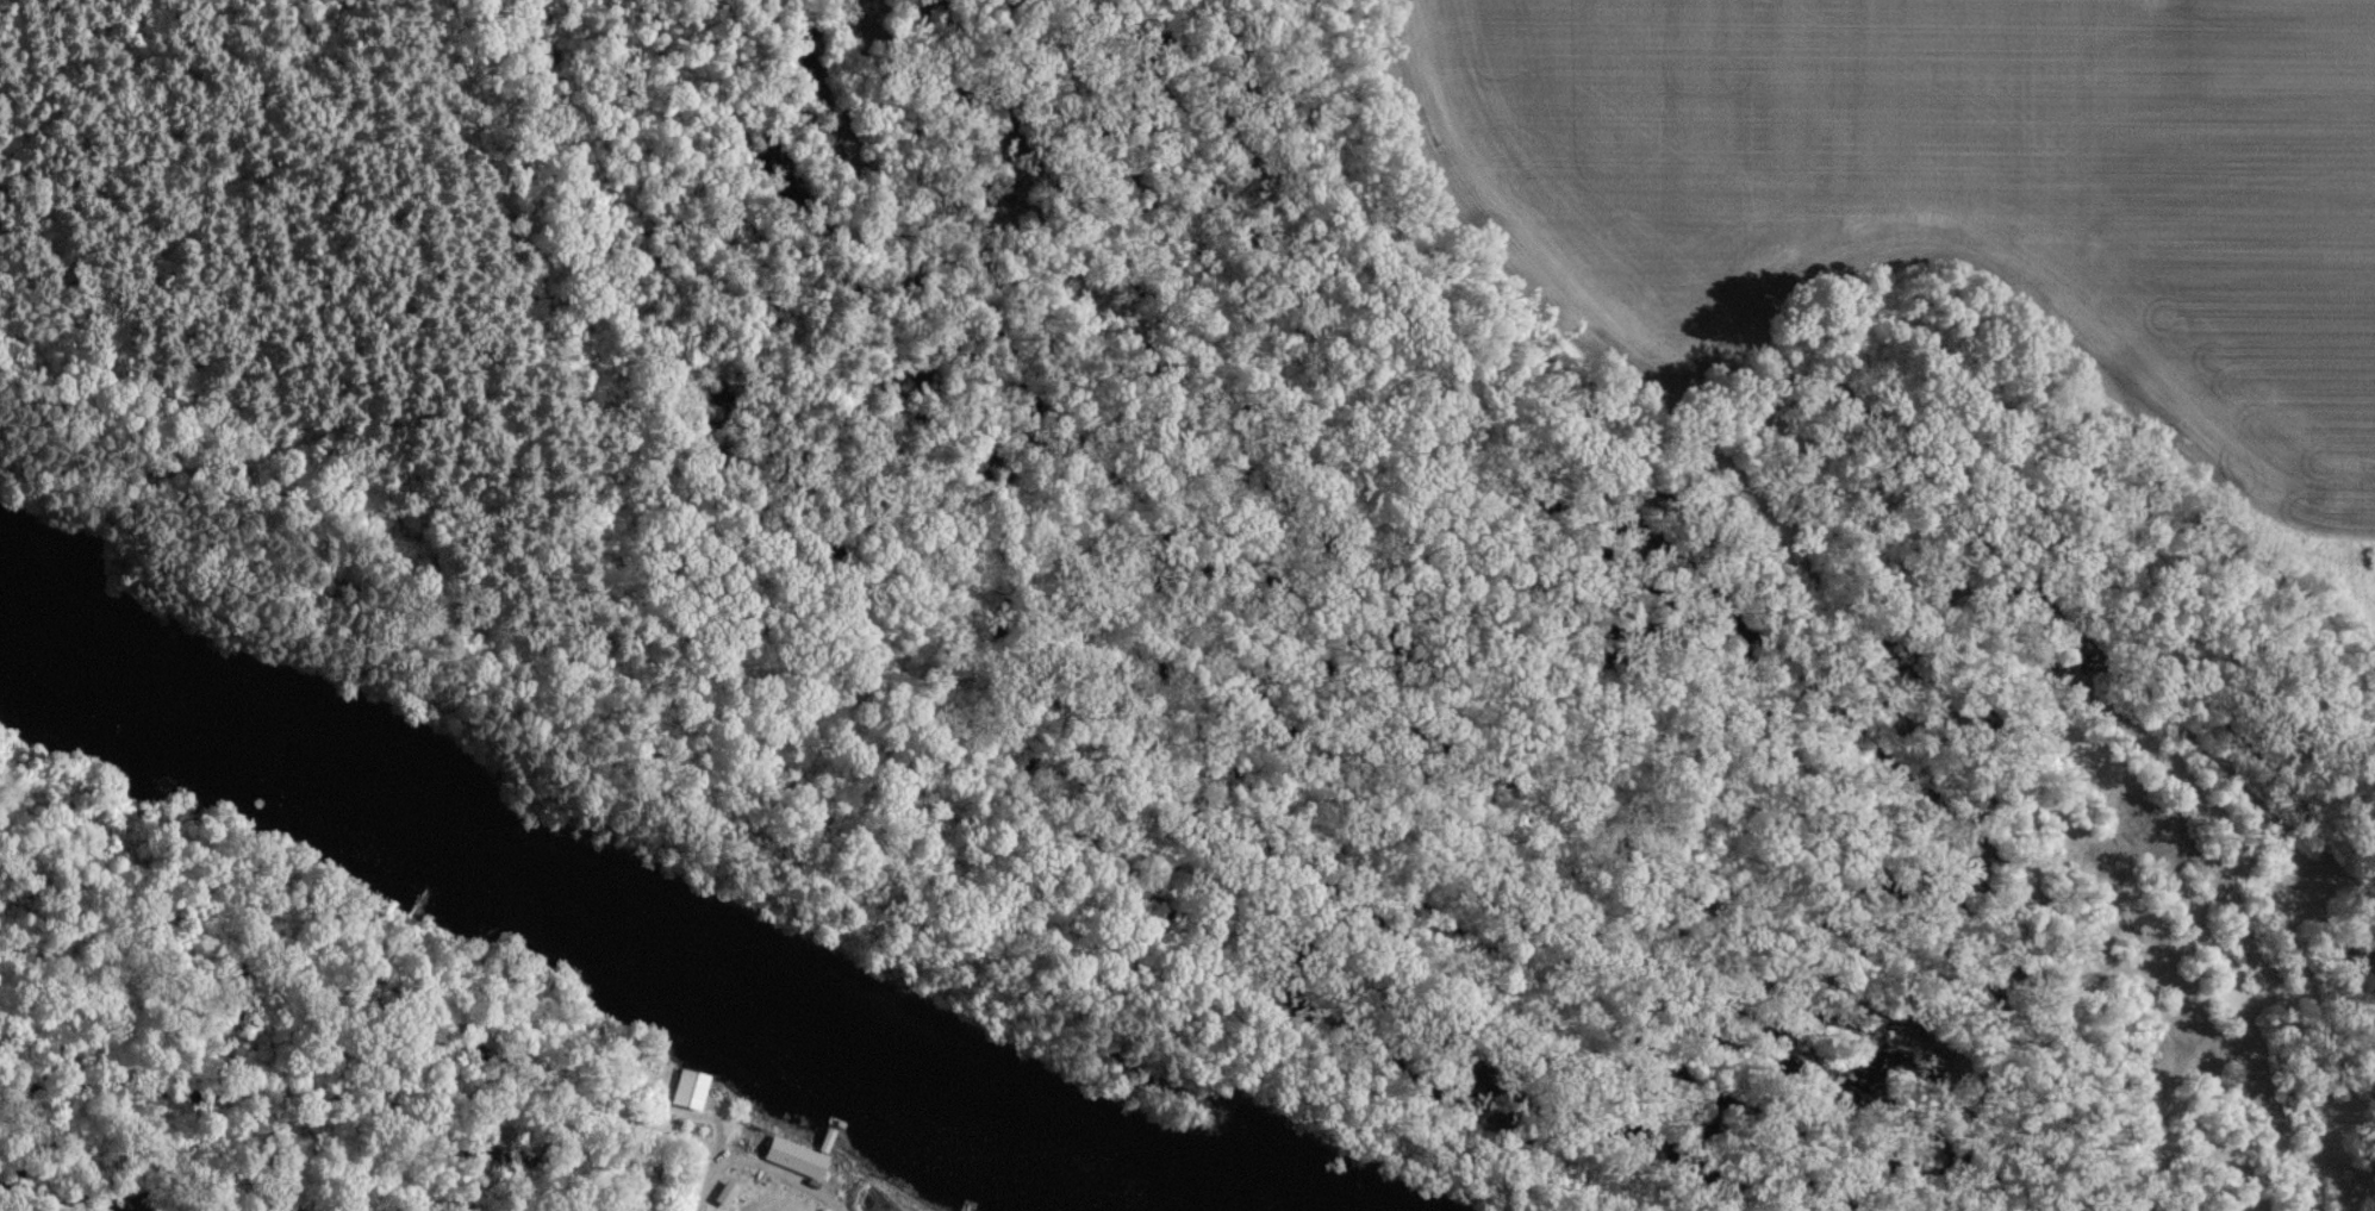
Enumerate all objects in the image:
building: (691, 1087)
building: (790, 1149)
road: (761, 1162)

